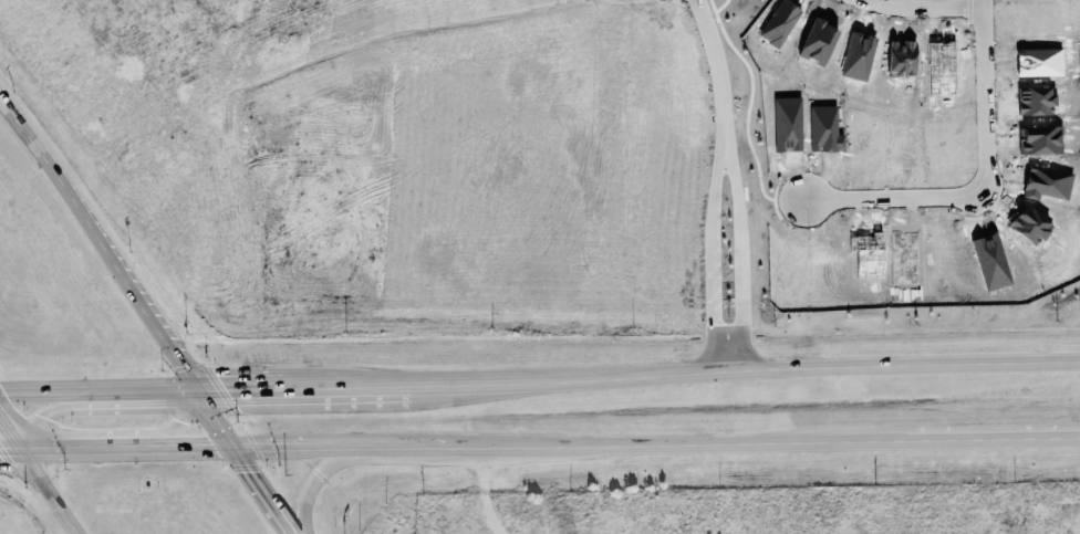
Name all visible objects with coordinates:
road: (920, 12)
road: (723, 78)
road: (729, 161)
road: (988, 184)
road: (89, 226)
road: (843, 365)
road: (189, 371)
road: (510, 383)
road: (368, 387)
road: (264, 389)
road: (139, 390)
traffic signals: (227, 390)
road: (38, 392)
traffic signals: (8, 394)
traffic signals: (42, 413)
road: (40, 415)
traffic signals: (176, 418)
road: (173, 419)
road: (11, 433)
road: (993, 438)
road: (736, 442)
road: (302, 443)
road: (188, 444)
traffic signals: (214, 444)
road: (390, 444)
road: (478, 444)
road: (555, 444)
road: (80, 448)
road: (11, 450)
road: (250, 461)
traffic signals: (257, 470)
road: (316, 478)
road: (480, 490)
road: (51, 492)

